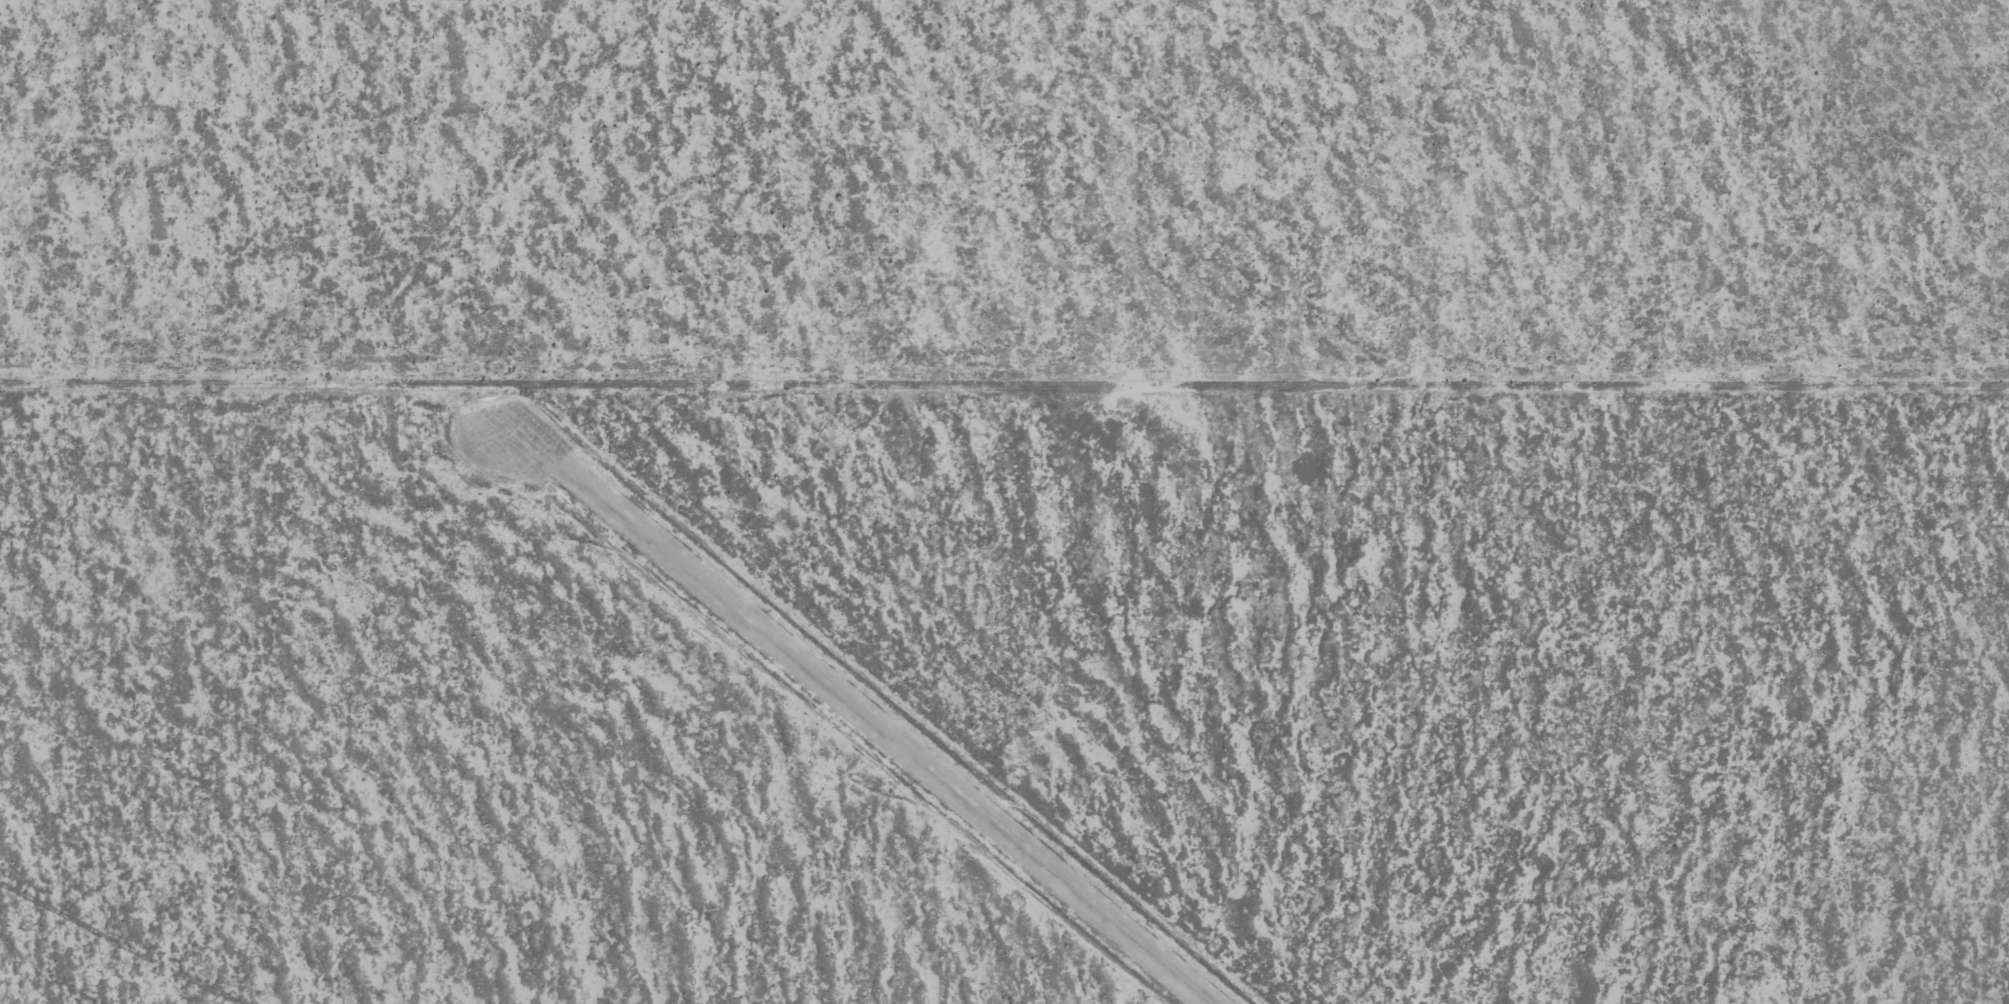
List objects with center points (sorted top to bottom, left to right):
road: (1004, 428)
airport runway: (858, 704)
road: (118, 955)

